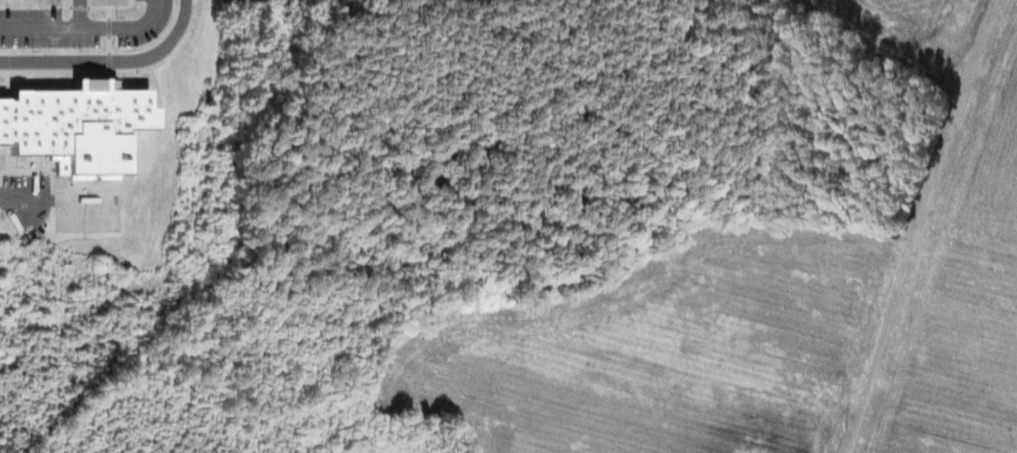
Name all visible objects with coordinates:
road: (921, 204)

